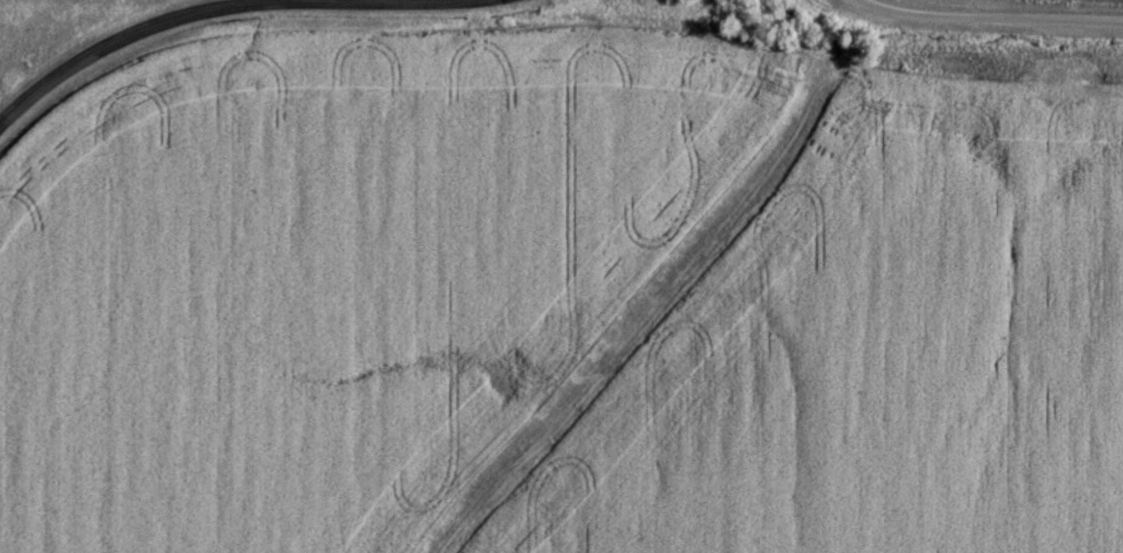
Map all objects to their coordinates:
road: (230, 5)
road: (990, 14)

